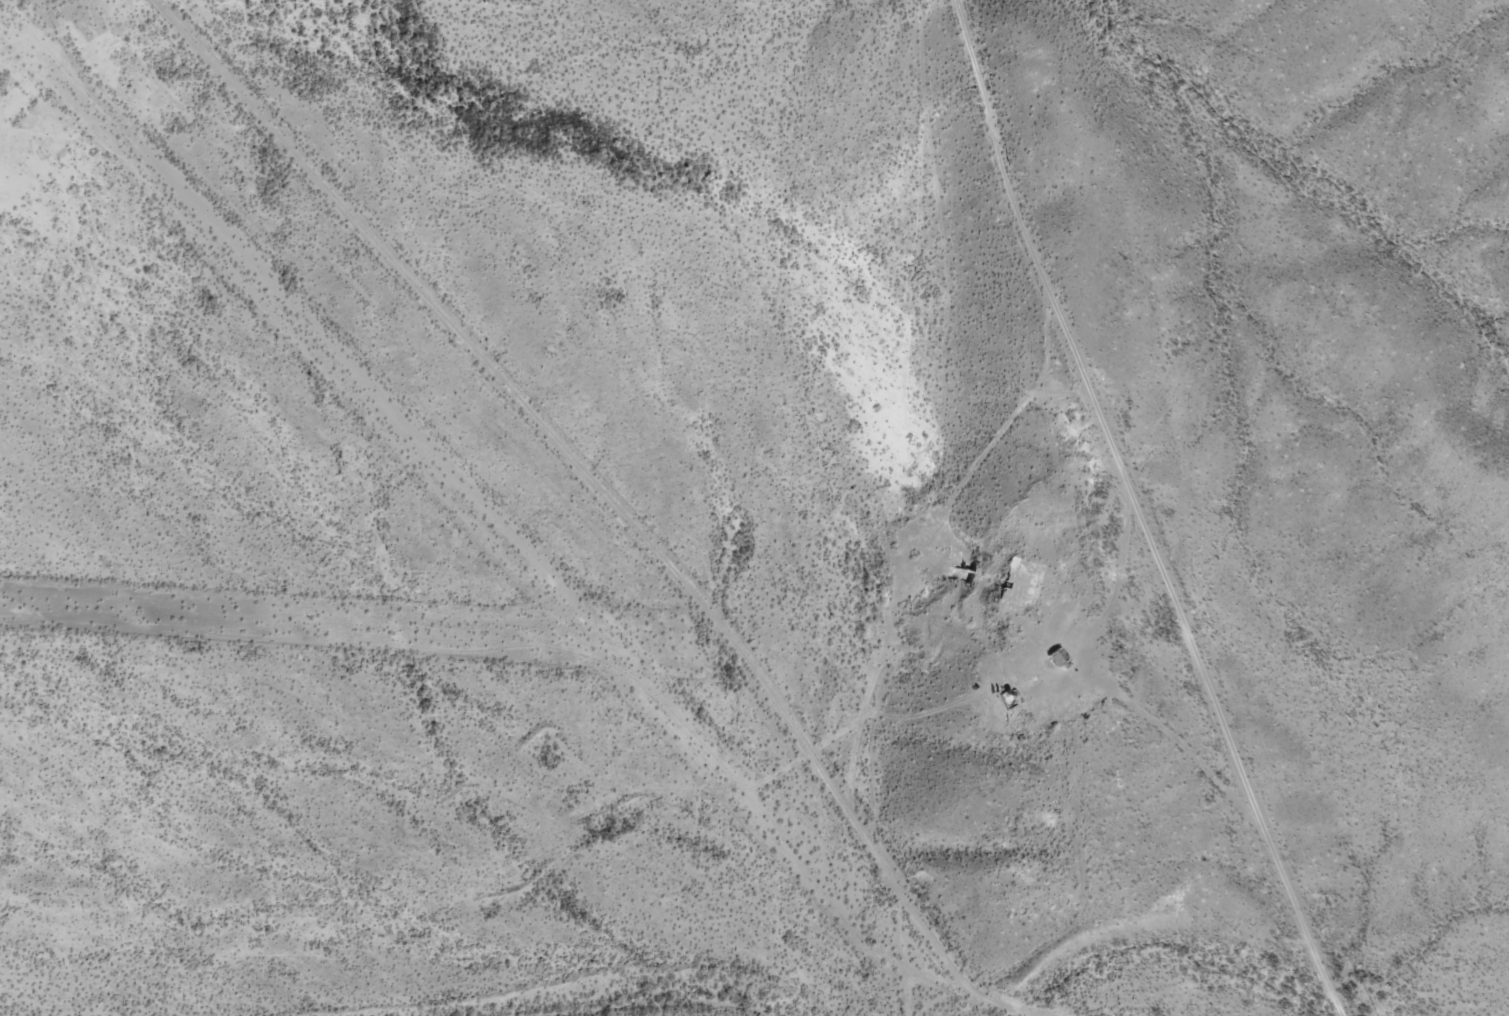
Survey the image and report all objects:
road: (1033, 246)
road: (1196, 651)
road: (1112, 679)
road: (1302, 917)

